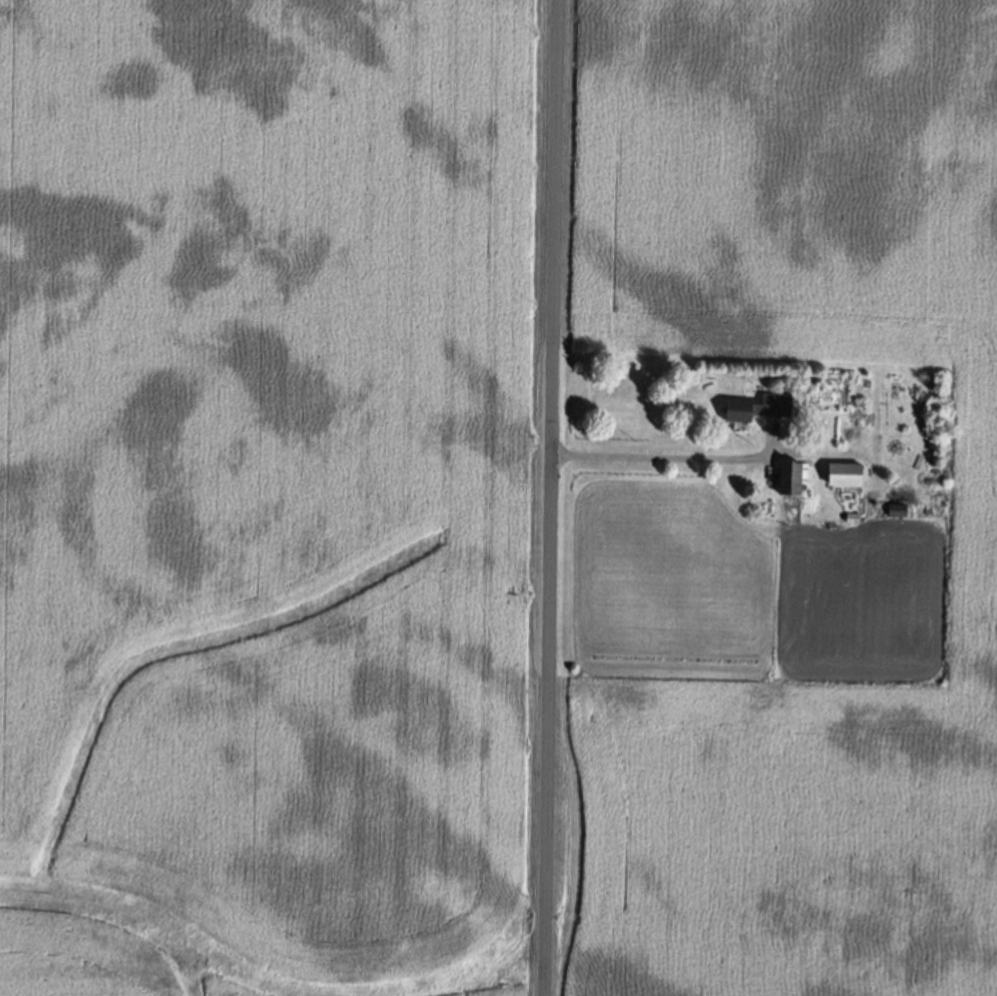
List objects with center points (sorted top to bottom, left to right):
building: (758, 407)
road: (669, 459)
building: (845, 473)
building: (789, 478)
road: (553, 498)
building: (898, 510)
building: (852, 516)

